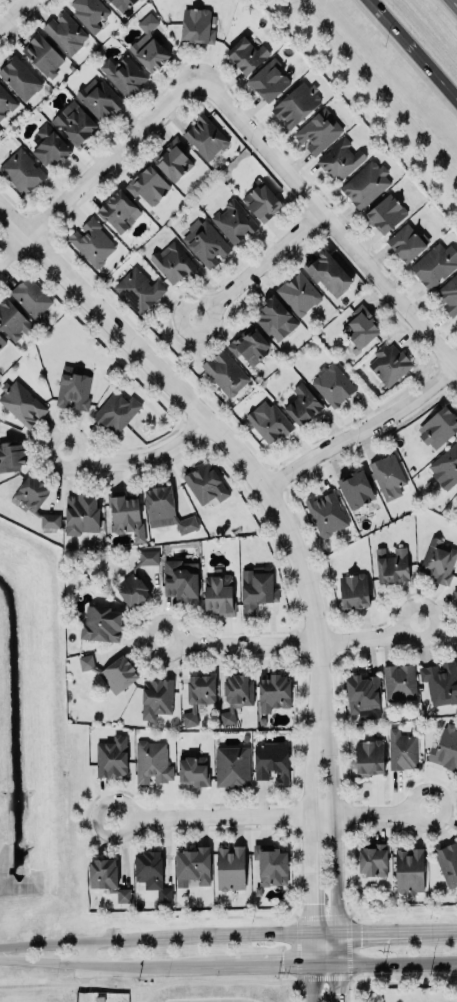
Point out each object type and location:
road: (454, 3)
building: (121, 4)
building: (89, 12)
road: (13, 13)
building: (196, 19)
building: (67, 33)
road: (413, 50)
building: (43, 55)
building: (151, 56)
building: (248, 56)
building: (124, 74)
building: (21, 78)
building: (270, 82)
building: (99, 98)
building: (6, 102)
building: (296, 104)
building: (76, 125)
building: (319, 131)
building: (207, 138)
building: (49, 146)
building: (173, 159)
building: (341, 160)
road: (96, 166)
building: (22, 171)
building: (367, 184)
building: (148, 185)
building: (262, 201)
building: (119, 210)
building: (387, 216)
road: (333, 219)
building: (234, 221)
building: (92, 242)
building: (205, 242)
building: (408, 242)
building: (174, 262)
building: (435, 264)
road: (264, 266)
building: (330, 275)
building: (138, 289)
building: (300, 294)
building: (449, 295)
building: (32, 298)
building: (12, 317)
building: (276, 317)
building: (456, 321)
building: (361, 328)
building: (2, 339)
building: (250, 346)
building: (390, 364)
building: (225, 372)
building: (334, 385)
building: (74, 388)
building: (21, 403)
building: (305, 405)
building: (117, 411)
road: (205, 419)
building: (271, 424)
building: (439, 428)
road: (358, 429)
building: (11, 456)
road: (136, 458)
building: (446, 468)
building: (389, 477)
building: (206, 484)
building: (356, 486)
building: (31, 492)
building: (80, 510)
building: (167, 511)
building: (324, 512)
building: (126, 515)
building: (50, 521)
building: (438, 560)
building: (392, 563)
building: (181, 577)
building: (137, 578)
building: (257, 588)
building: (354, 590)
building: (455, 593)
building: (219, 594)
building: (101, 624)
road: (288, 643)
building: (455, 647)
building: (111, 670)
building: (399, 682)
building: (440, 682)
building: (274, 690)
building: (198, 693)
building: (236, 693)
building: (157, 696)
building: (363, 696)
building: (402, 748)
building: (445, 748)
building: (111, 755)
building: (369, 757)
building: (152, 760)
building: (272, 760)
building: (232, 765)
building: (194, 770)
road: (309, 808)
road: (339, 808)
road: (270, 816)
building: (373, 857)
building: (448, 862)
building: (271, 863)
building: (193, 864)
building: (231, 866)
building: (149, 867)
building: (409, 870)
building: (107, 875)
road: (228, 933)
road: (311, 946)
road: (340, 946)
road: (85, 951)
road: (399, 960)
road: (82, 962)
road: (326, 962)
road: (199, 963)
road: (272, 963)
road: (179, 978)
road: (401, 979)
road: (339, 981)
road: (311, 982)
road: (290, 991)
road: (351, 994)

